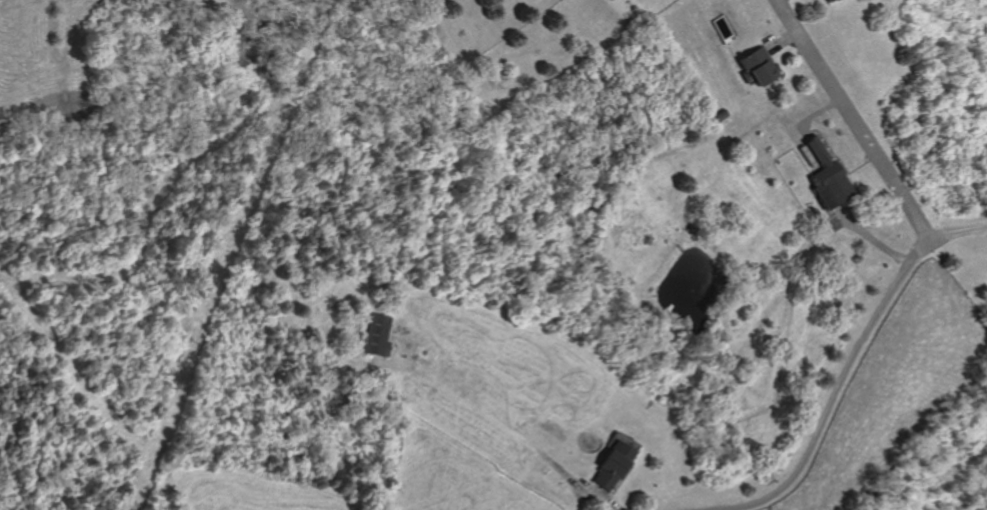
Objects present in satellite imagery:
building: (826, 0)
building: (755, 68)
building: (821, 175)
road: (955, 232)
road: (904, 267)
building: (370, 334)
building: (607, 465)

